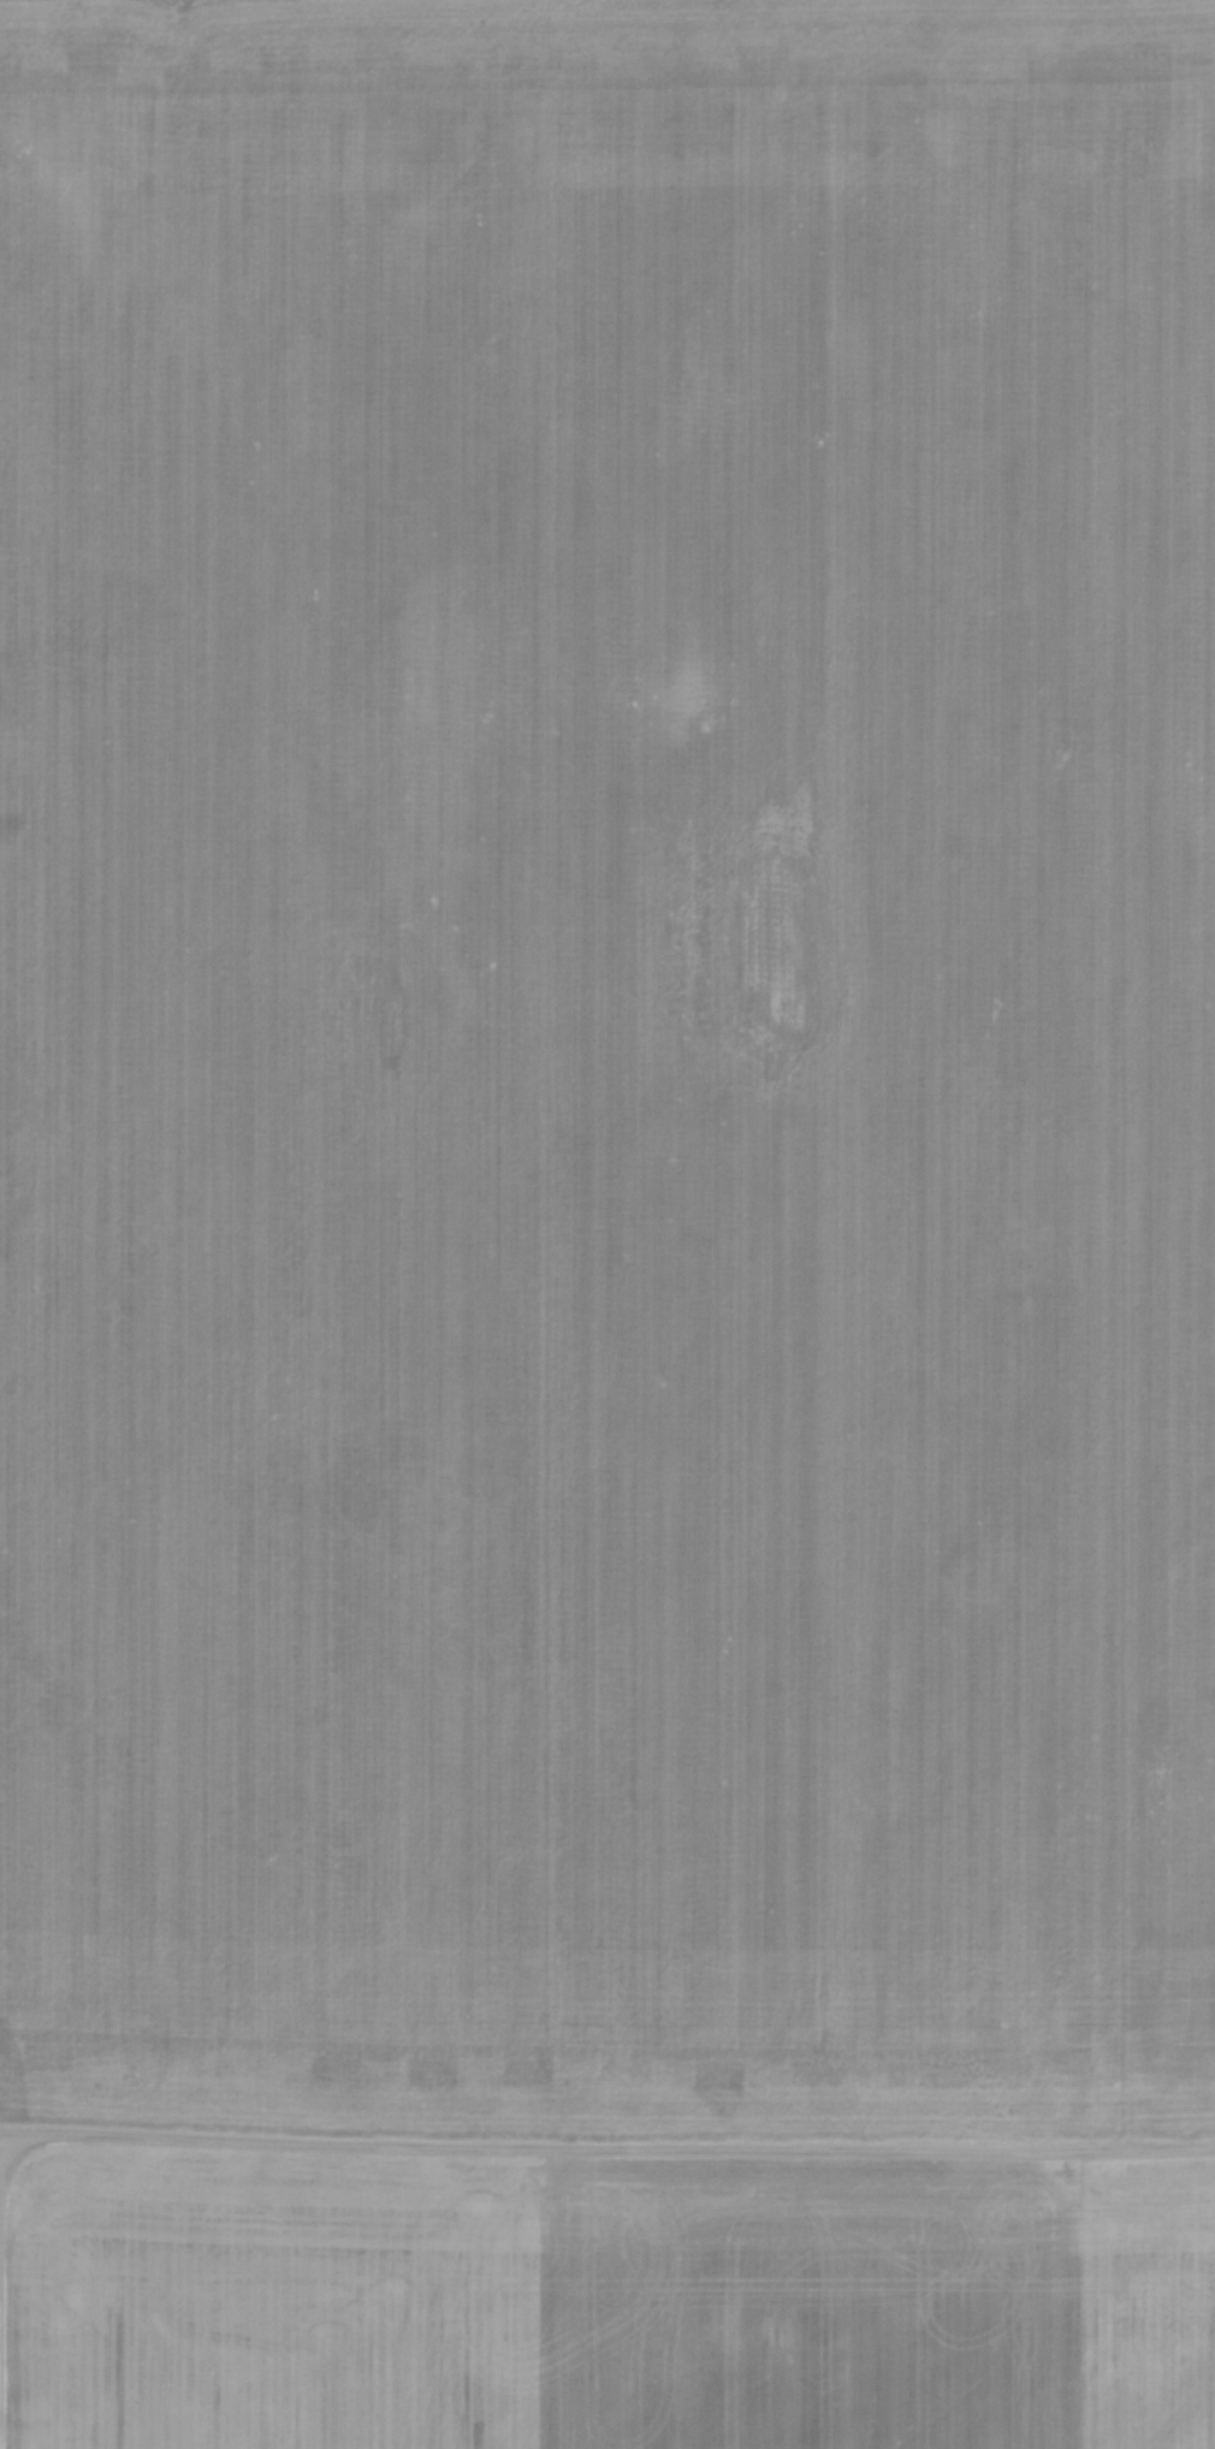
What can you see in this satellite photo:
road: (606, 2151)

